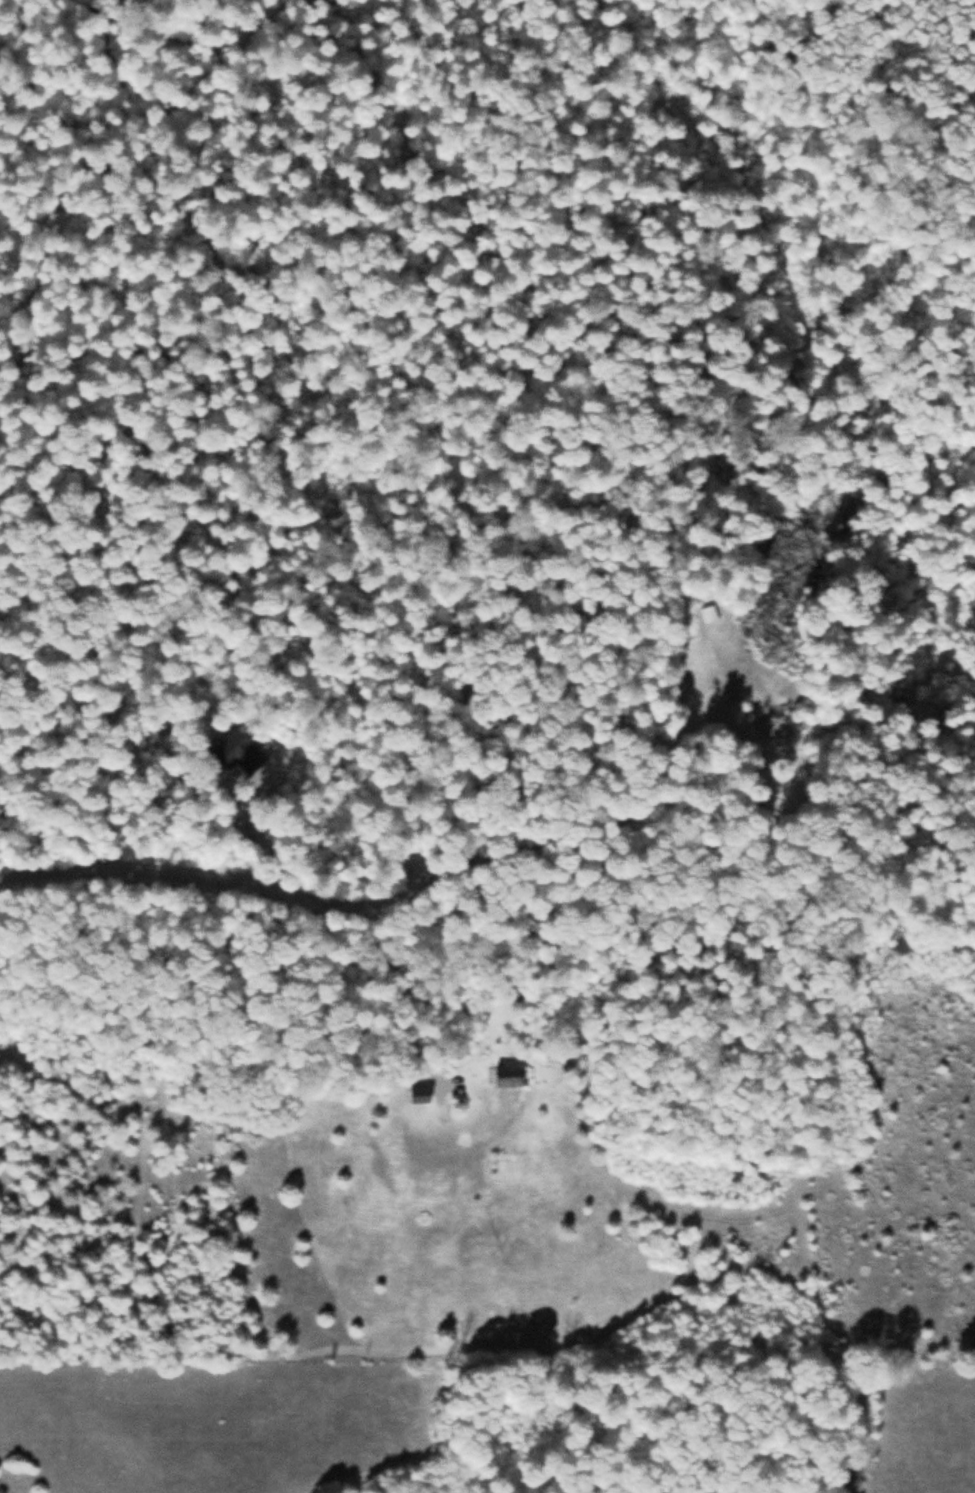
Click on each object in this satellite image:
building: (710, 611)
building: (228, 747)
road: (157, 874)
building: (503, 1075)
building: (416, 1094)

